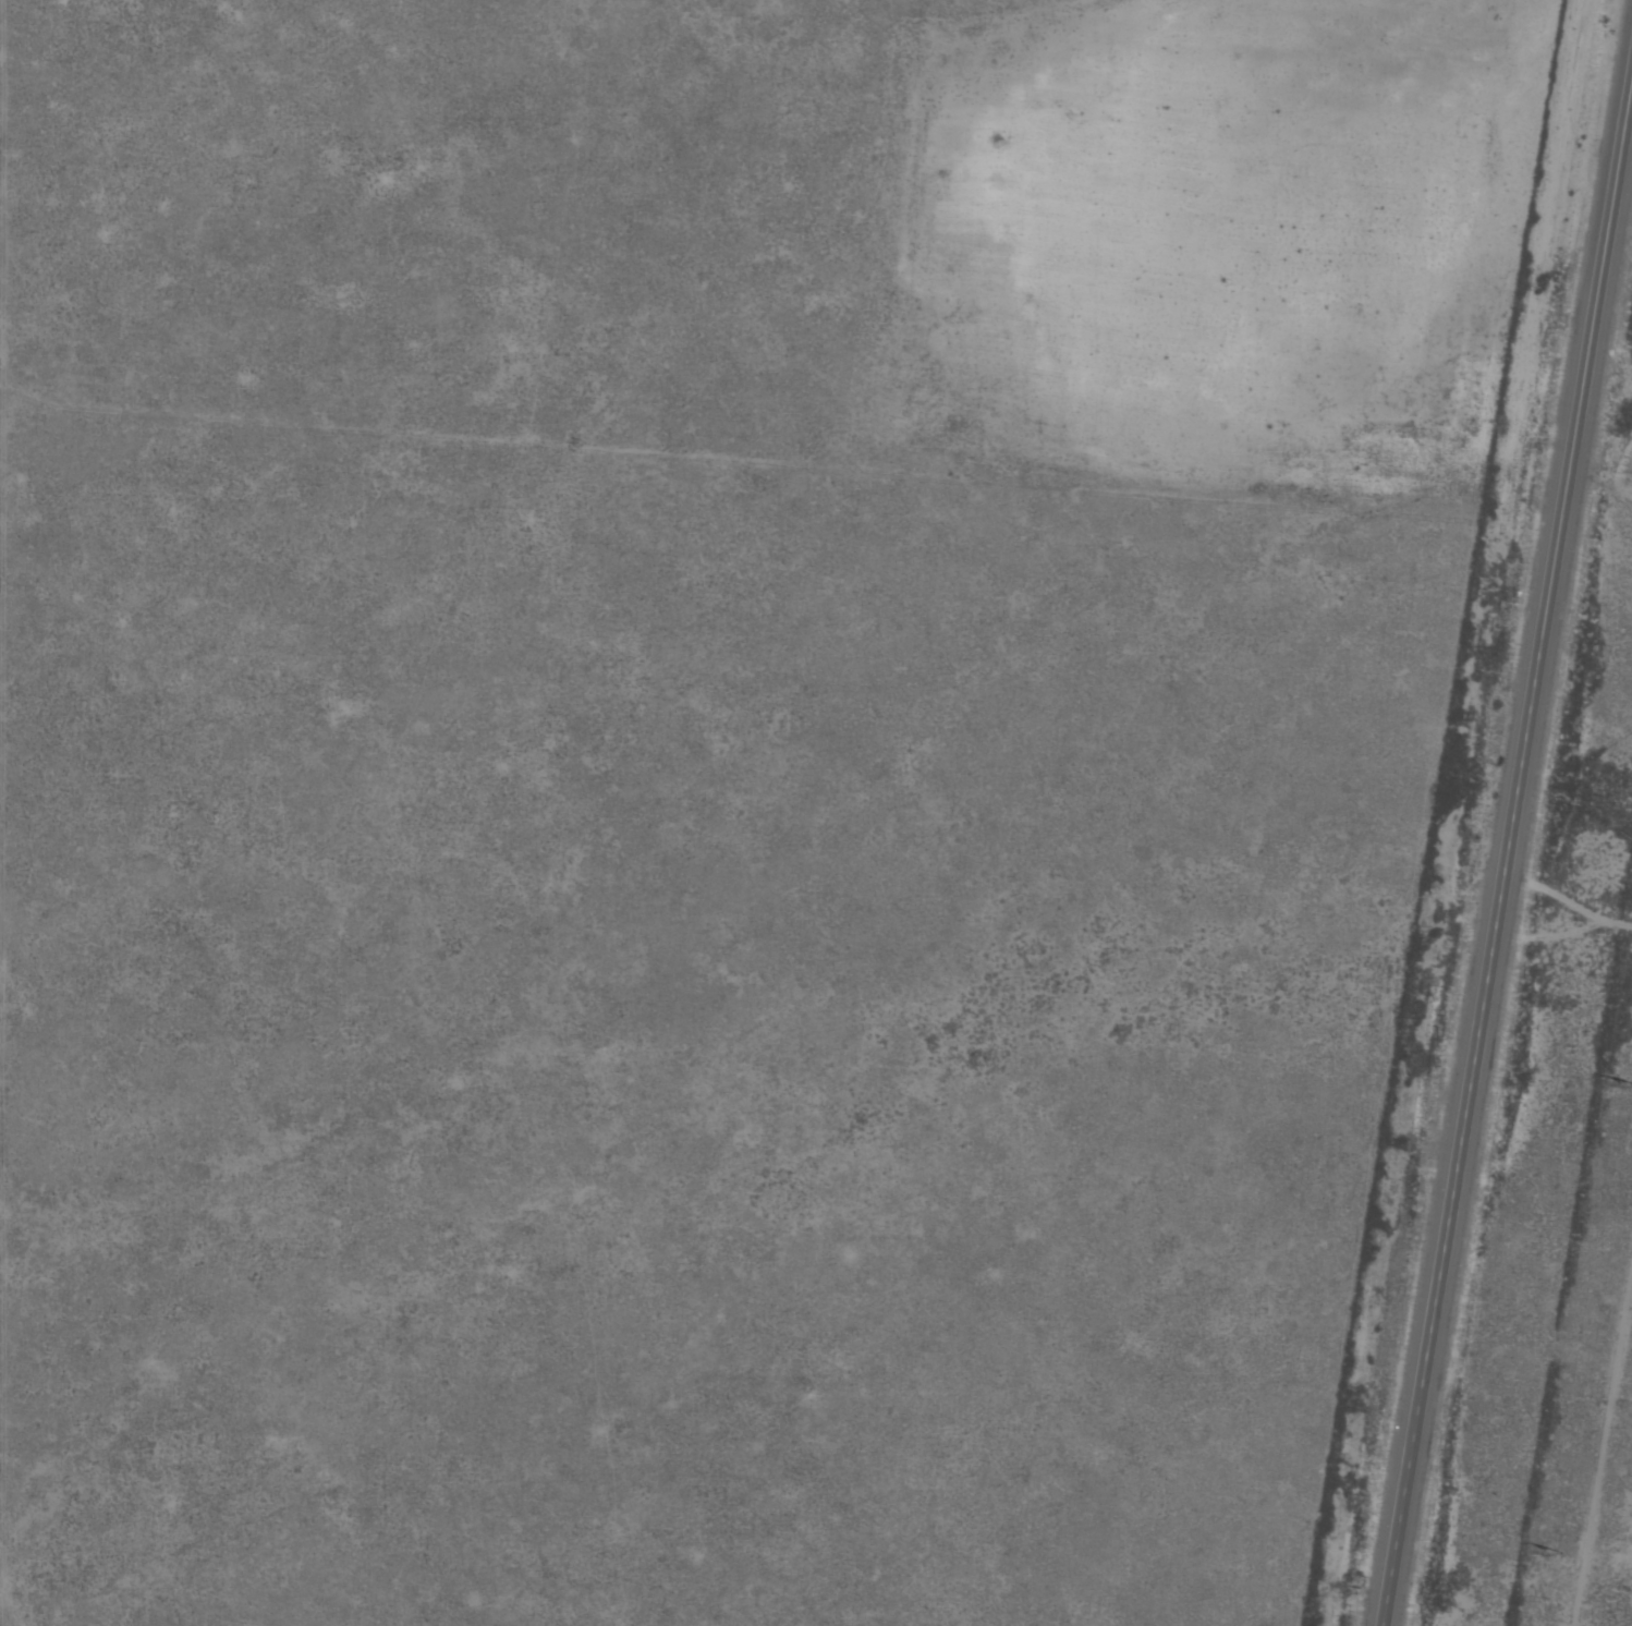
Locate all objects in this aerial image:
road: (1502, 815)
power tower: (1558, 1555)

